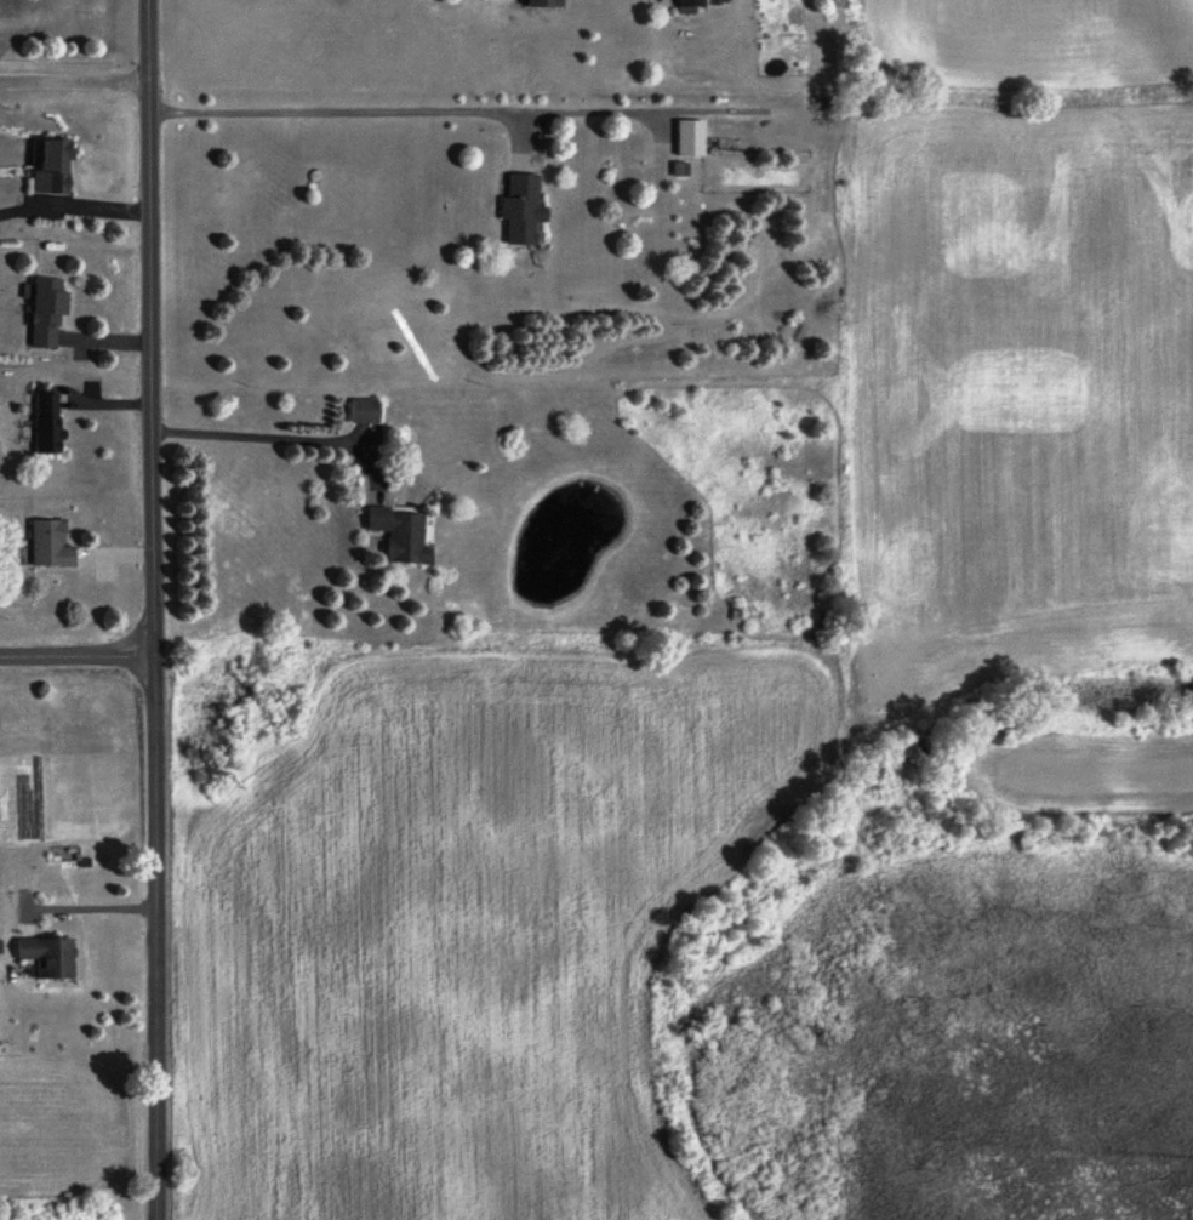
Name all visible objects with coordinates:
building: (686, 2)
building: (531, 4)
road: (73, 82)
road: (327, 109)
building: (686, 138)
building: (57, 166)
building: (516, 209)
building: (50, 315)
building: (366, 412)
building: (47, 424)
road: (267, 435)
building: (404, 535)
building: (52, 546)
road: (152, 609)
road: (76, 659)
road: (89, 908)
building: (50, 957)

